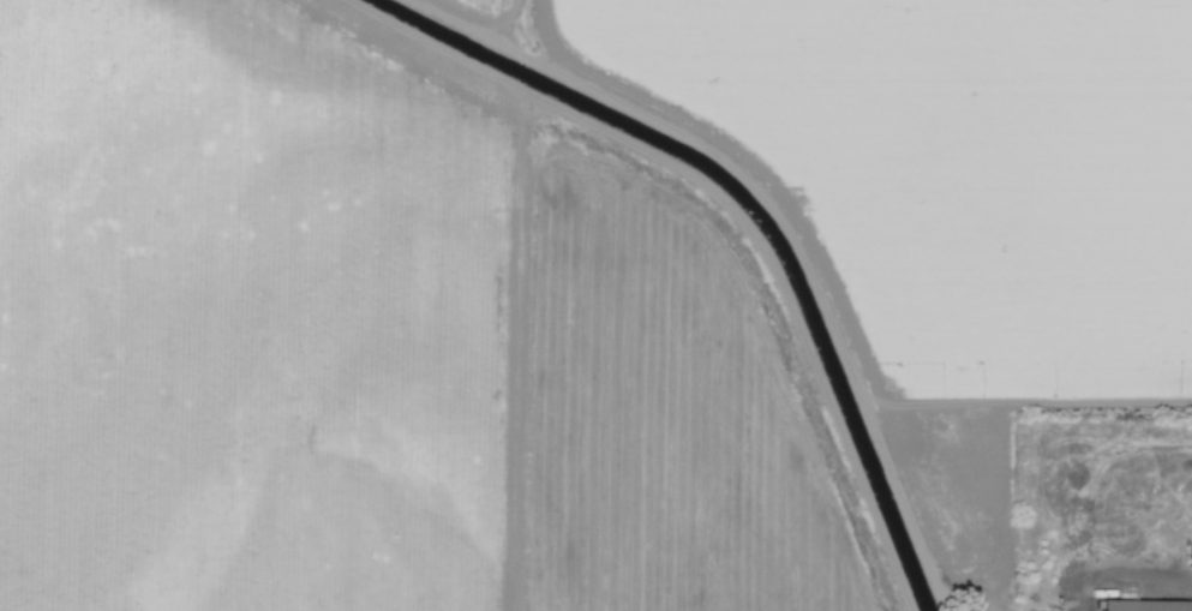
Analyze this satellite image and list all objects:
road: (1121, 573)
building: (1145, 605)

